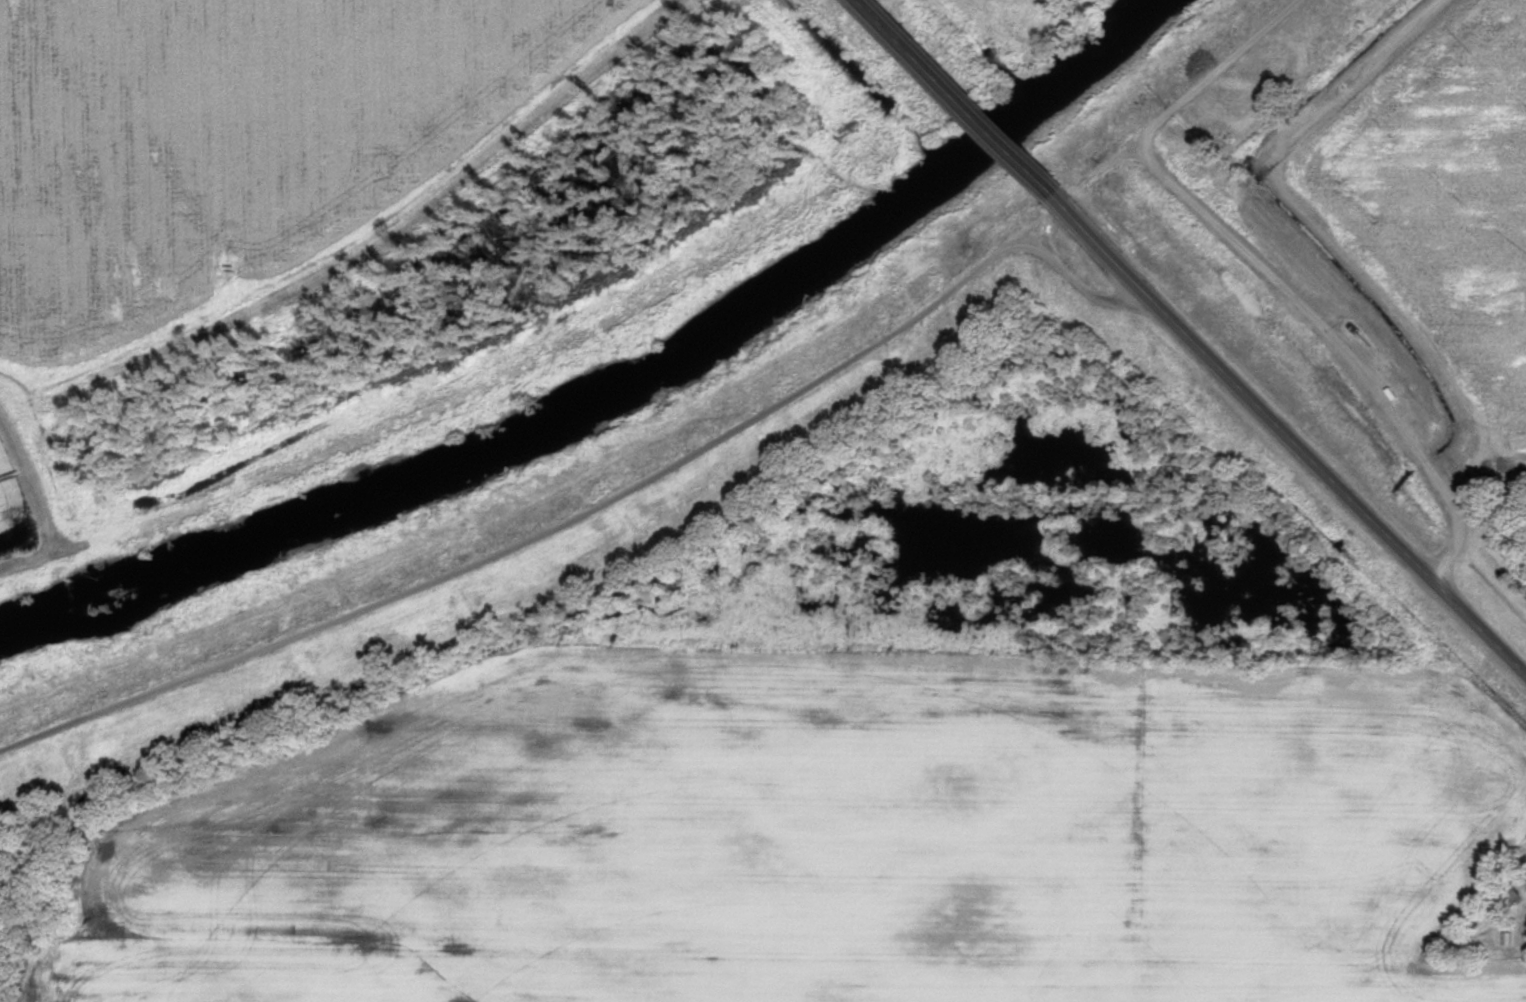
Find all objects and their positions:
road: (957, 95)
road: (1265, 264)
river: (615, 396)
road: (1287, 431)
road: (597, 506)

